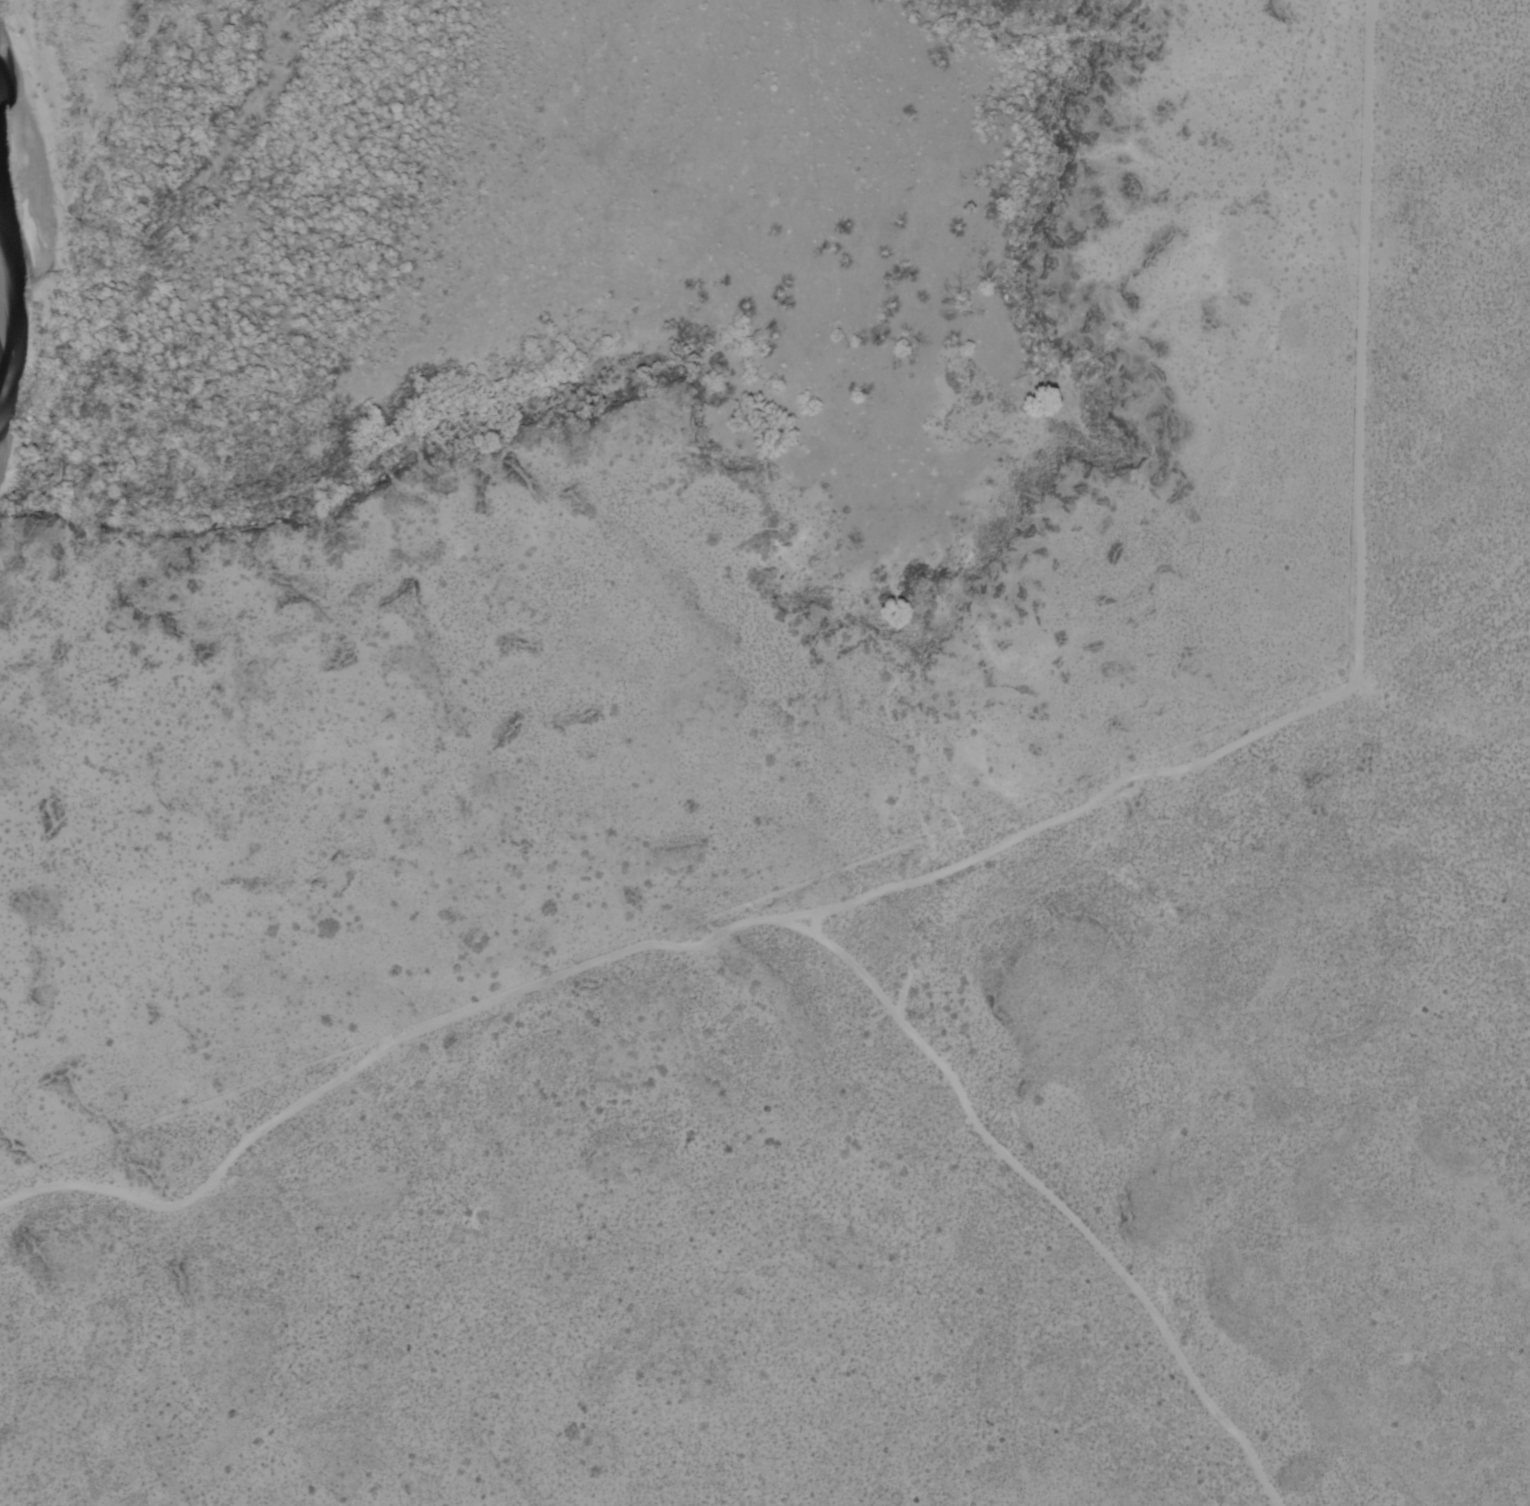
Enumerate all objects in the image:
road: (1351, 659)
road: (812, 924)
road: (724, 934)

